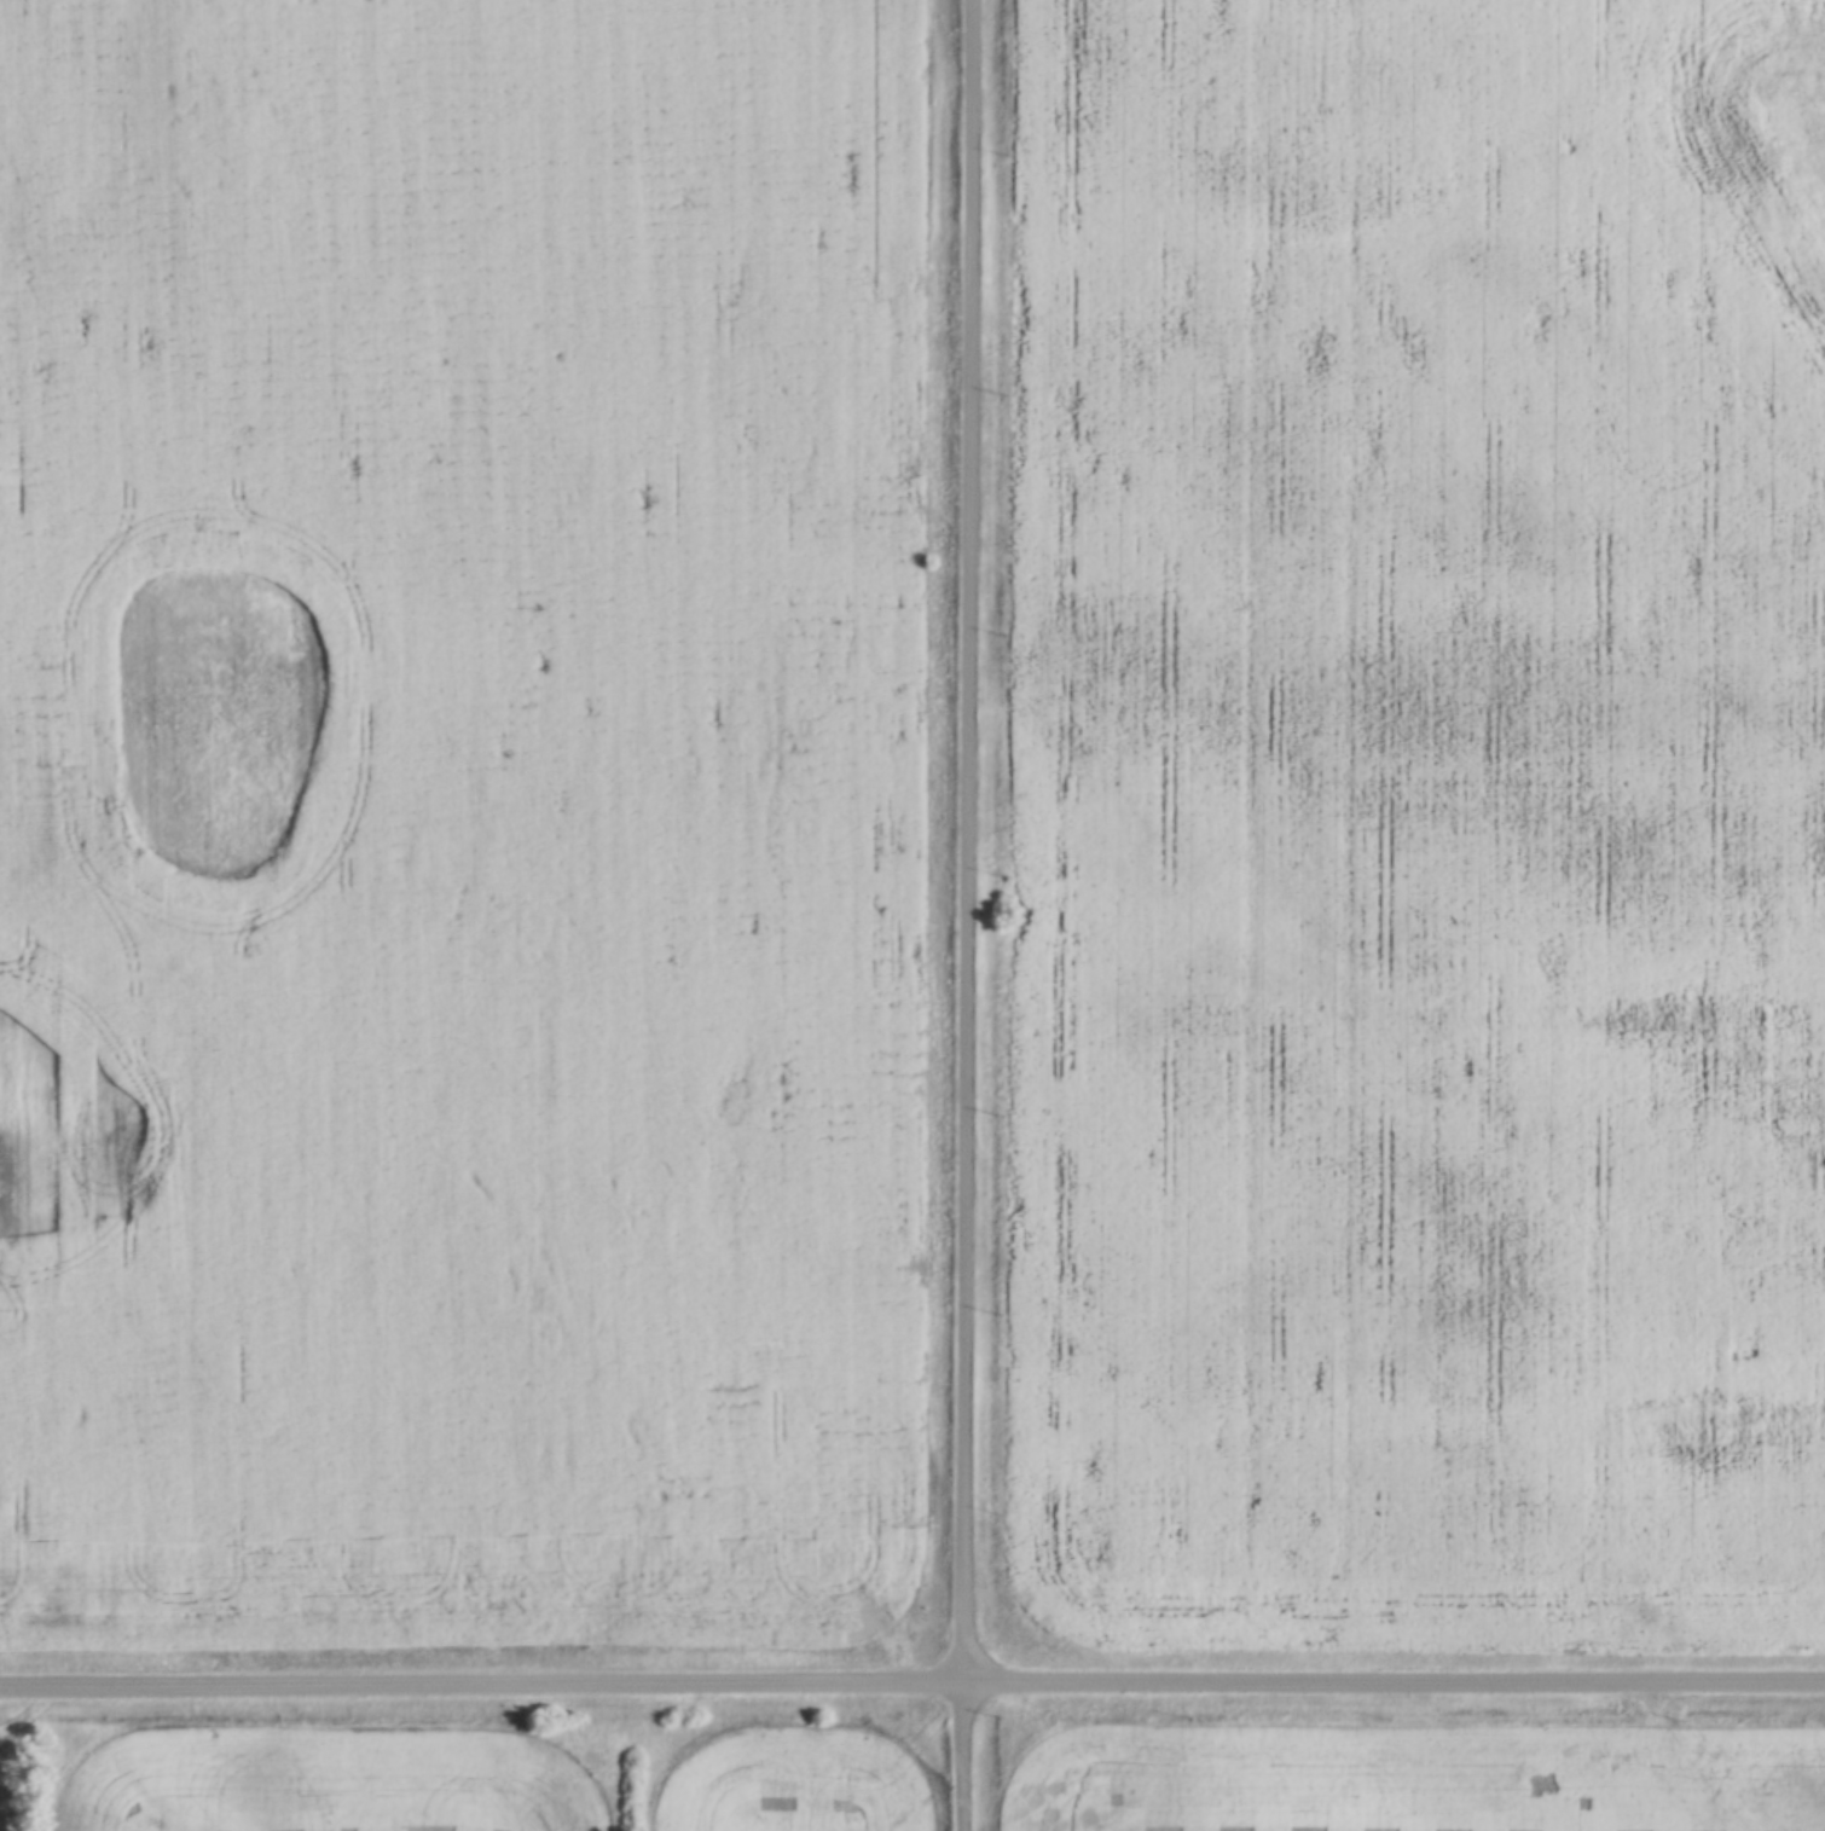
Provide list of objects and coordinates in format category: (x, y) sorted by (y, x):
road: (963, 915)
road: (912, 1680)

